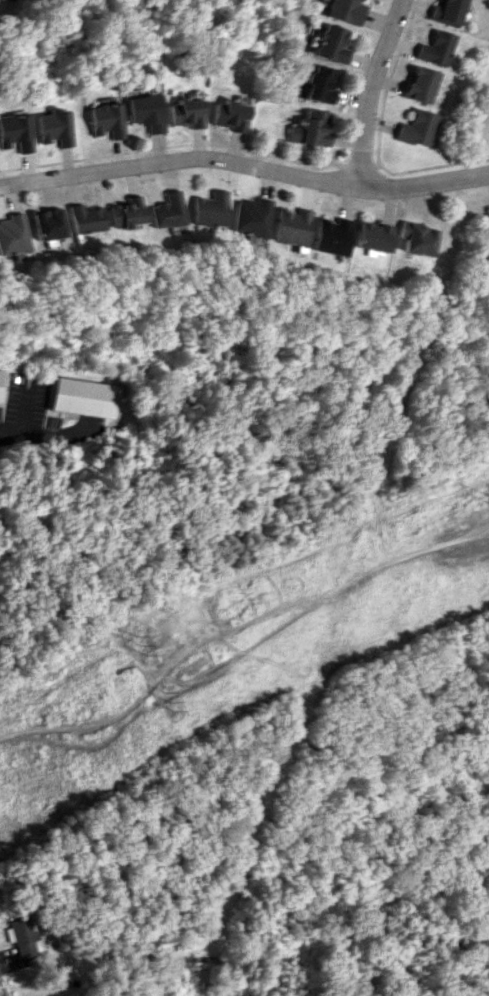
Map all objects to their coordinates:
building: (343, 11)
building: (445, 11)
building: (330, 43)
building: (435, 48)
building: (321, 84)
building: (420, 84)
road: (371, 92)
building: (149, 111)
building: (189, 113)
building: (233, 115)
building: (109, 120)
building: (56, 126)
building: (419, 128)
building: (313, 129)
building: (17, 132)
road: (245, 165)
building: (212, 209)
building: (169, 211)
building: (128, 213)
building: (253, 217)
building: (86, 218)
building: (488, 221)
building: (47, 224)
building: (291, 226)
building: (13, 234)
building: (330, 236)
building: (371, 237)
building: (415, 238)
building: (1, 387)
building: (85, 397)
road: (27, 416)
power tower: (135, 643)
power tower: (165, 698)
building: (24, 936)
road: (2, 989)

